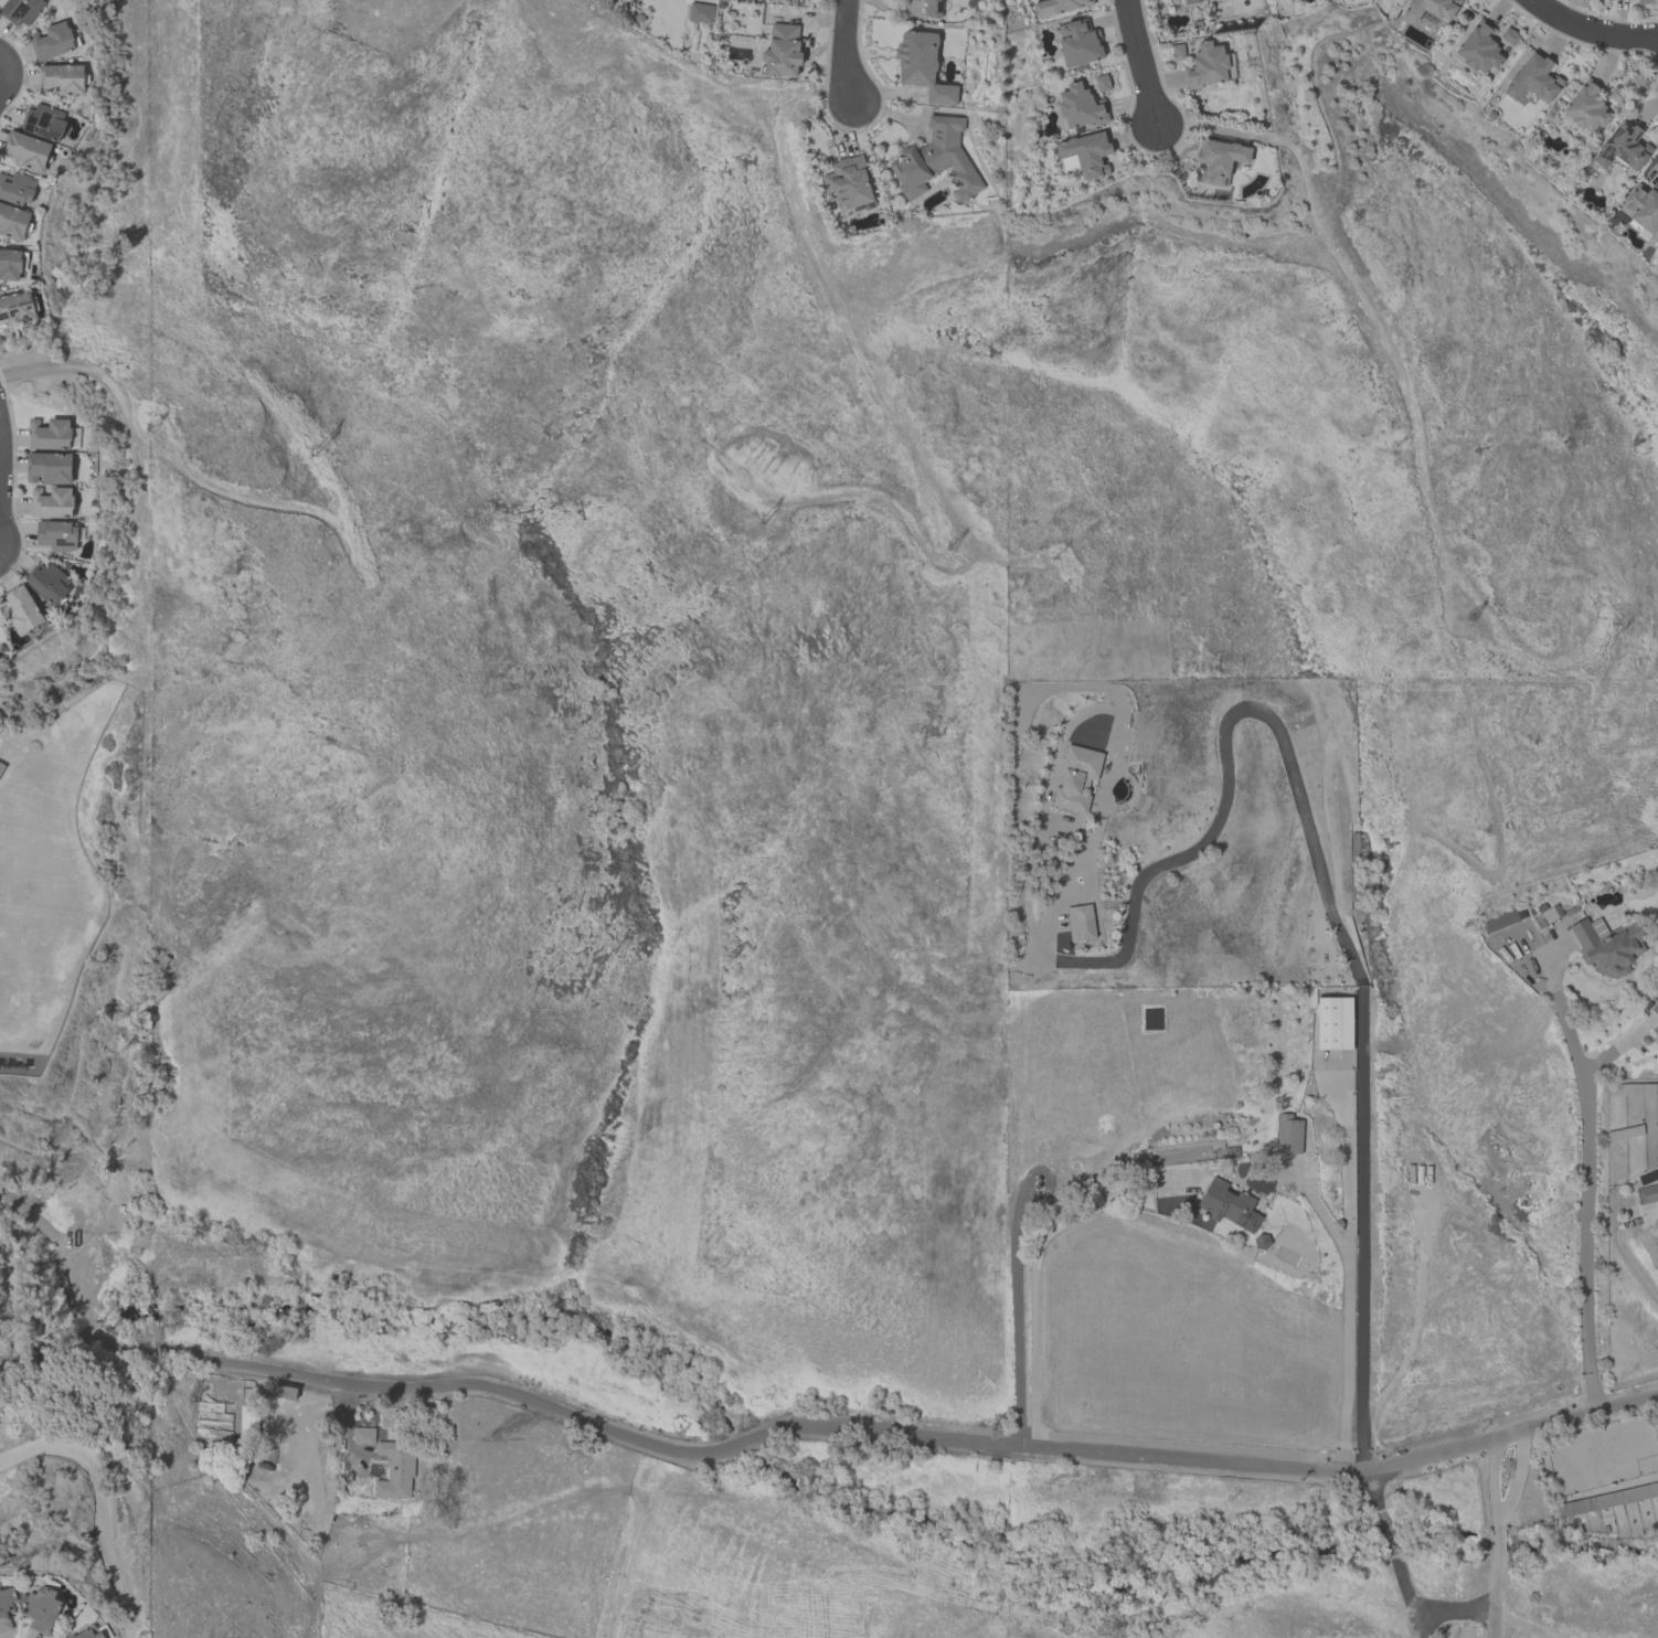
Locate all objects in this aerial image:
building: (1190, 1)
building: (1644, 1)
rooftop solar panel: (940, 7)
building: (1057, 7)
building: (933, 8)
building: (1431, 9)
building: (22, 11)
building: (700, 12)
road: (1591, 30)
building: (1509, 36)
building: (52, 41)
building: (1078, 43)
road: (851, 47)
building: (1479, 47)
building: (782, 51)
building: (1177, 52)
road: (1141, 62)
road: (3, 66)
building: (923, 66)
building: (1207, 66)
building: (61, 79)
building: (1533, 79)
road: (3, 82)
building: (1102, 83)
building: (1527, 98)
building: (1080, 107)
building: (1586, 107)
rooftop solar panel: (33, 118)
rooftop solar panel: (46, 118)
building: (43, 123)
rooftop solar panel: (30, 127)
rooftop solar panel: (1629, 128)
rooftop solar panel: (42, 129)
rooftop solar panel: (54, 132)
rooftop solar panel: (1632, 146)
building: (1622, 148)
building: (28, 151)
rooftop solar panel: (1643, 152)
building: (1085, 155)
rooftop solar panel: (1623, 157)
building: (1220, 160)
building: (937, 162)
building: (848, 183)
building: (17, 189)
building: (1641, 208)
building: (13, 222)
building: (10, 265)
rooftop solar panel: (31, 307)
building: (17, 308)
rooftop solar panel: (18, 310)
rooftop solar panel: (26, 315)
rooftop solar panel: (1, 316)
rooftop solar panel: (33, 320)
power tower: (156, 427)
building: (49, 435)
building: (74, 438)
building: (49, 468)
road: (1, 493)
building: (52, 502)
building: (57, 535)
power tower: (959, 544)
building: (49, 583)
building: (20, 609)
power tower: (1469, 621)
building: (1076, 778)
road: (1307, 829)
building: (1500, 921)
building: (1080, 923)
building: (1607, 946)
building: (1655, 1008)
rooftop solar panel: (1155, 1021)
building: (1335, 1023)
building: (1655, 1033)
building: (1288, 1135)
rooftop solar panel: (1652, 1177)
road: (1587, 1178)
building: (1647, 1194)
road: (1024, 1199)
building: (1229, 1205)
road: (66, 1269)
road: (14, 1326)
road: (890, 1433)
building: (363, 1436)
building: (395, 1470)
road: (1519, 1478)
road: (1494, 1479)
road: (1375, 1492)
road: (103, 1503)
building: (1573, 1508)
road: (1391, 1536)
road: (1497, 1580)
road: (1412, 1591)
building: (6, 1609)
building: (42, 1609)
road: (1452, 1613)
building: (88, 1634)

